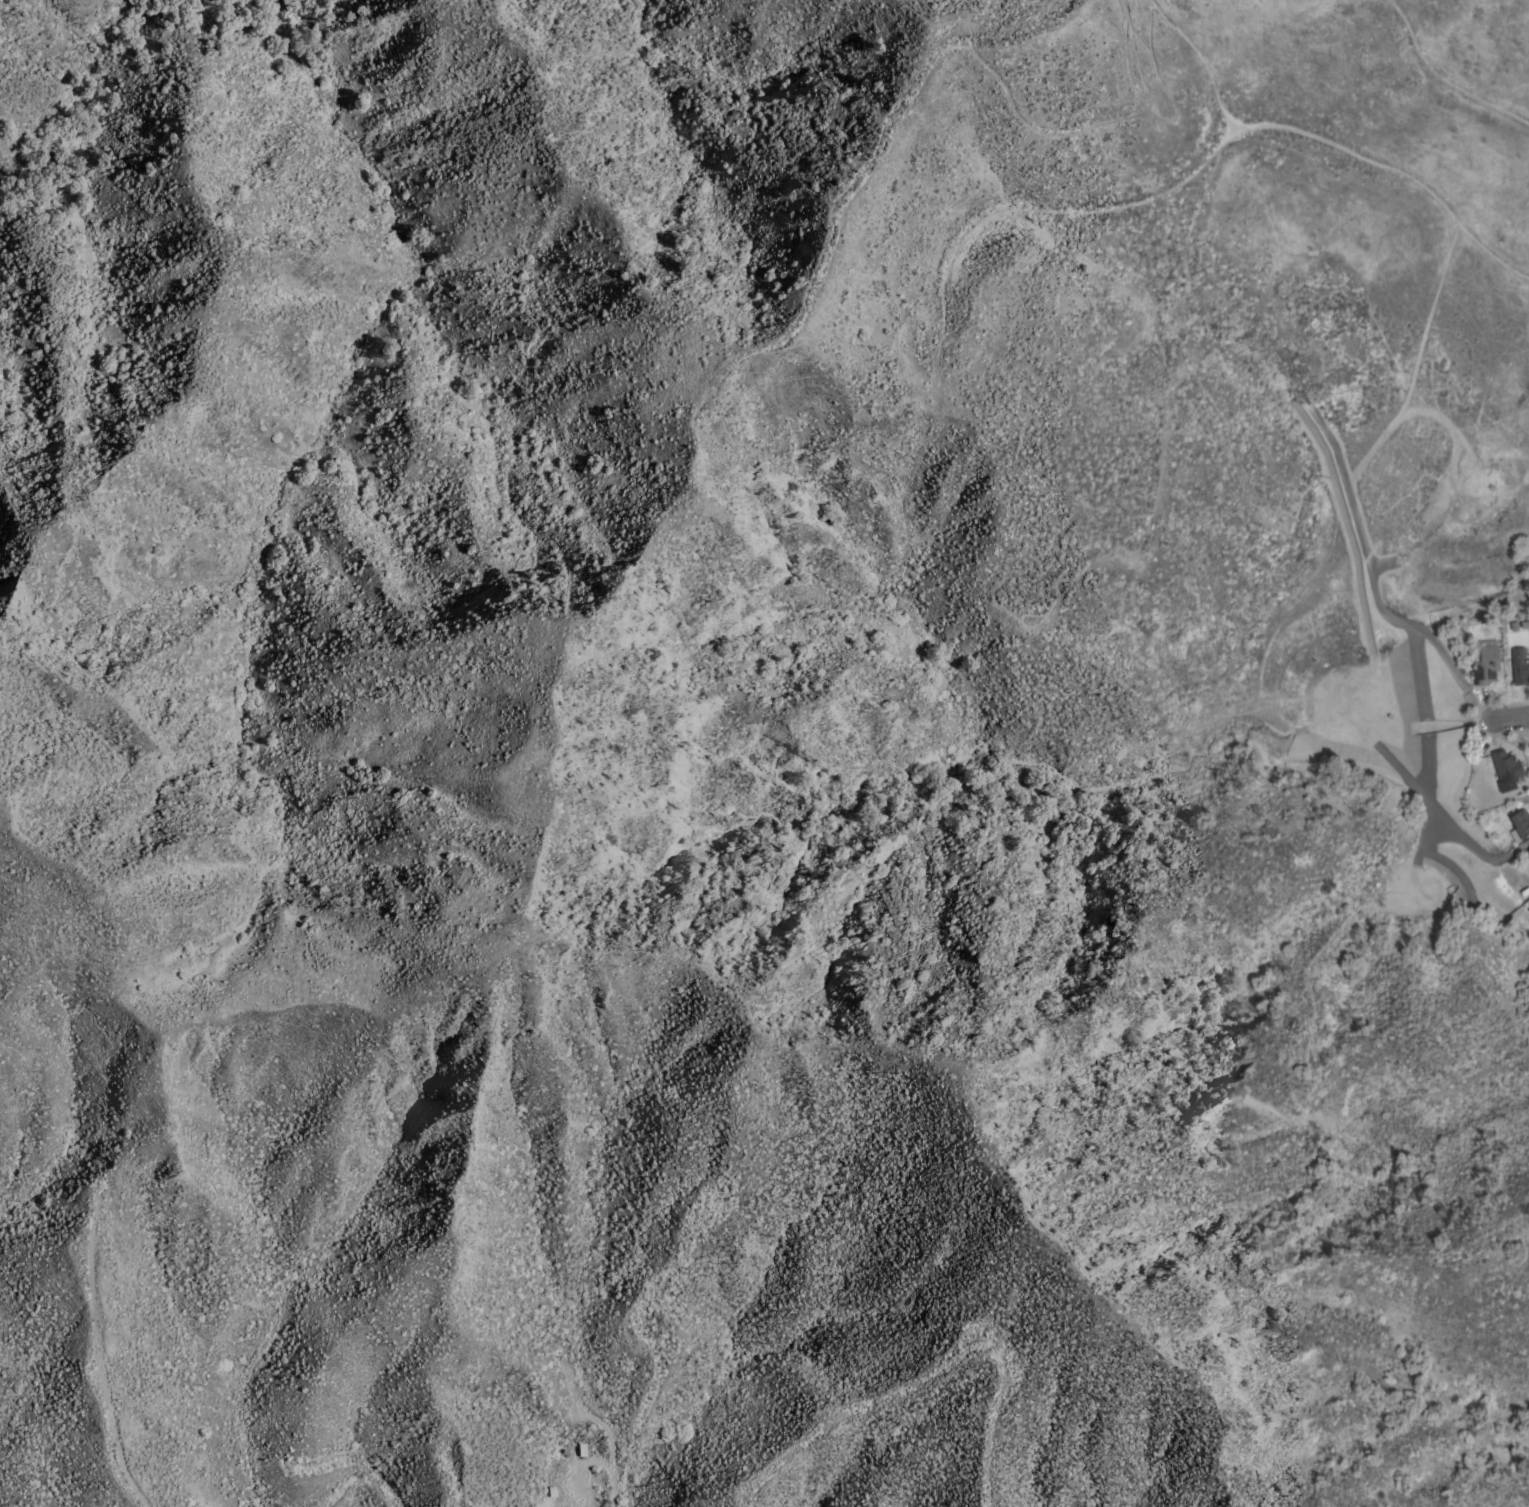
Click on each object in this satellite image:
building: (1485, 661)
building: (1519, 666)
road: (1509, 718)
building: (1506, 769)
building: (1520, 825)
building: (1528, 850)

